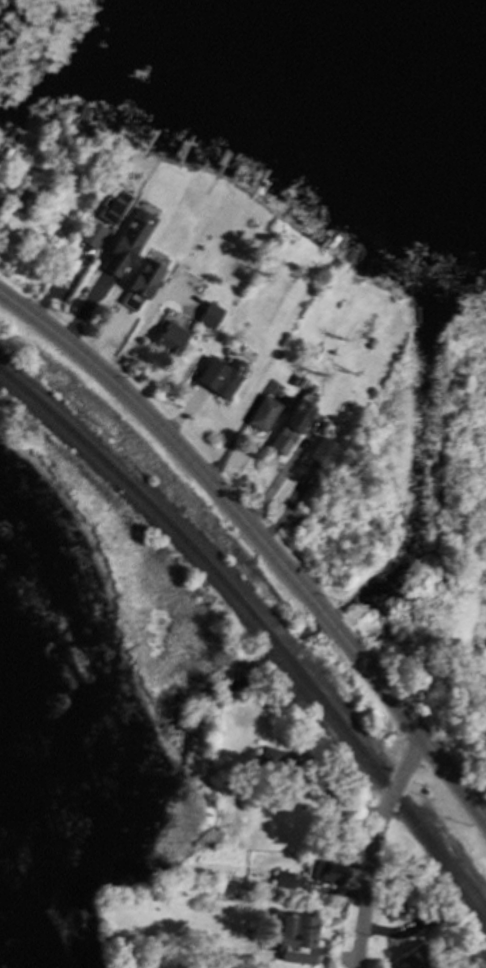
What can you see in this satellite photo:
building: (11, 183)
building: (1, 196)
building: (23, 196)
building: (111, 205)
building: (92, 233)
building: (123, 238)
building: (141, 282)
building: (210, 314)
road: (148, 321)
building: (169, 338)
building: (313, 354)
building: (219, 371)
building: (263, 413)
building: (291, 420)
building: (320, 454)
road: (281, 477)
road: (258, 537)
railway: (257, 626)
building: (293, 742)
building: (269, 758)
road: (377, 848)
building: (328, 871)
building: (281, 876)
building: (394, 907)
building: (426, 913)
building: (295, 937)
building: (414, 956)

